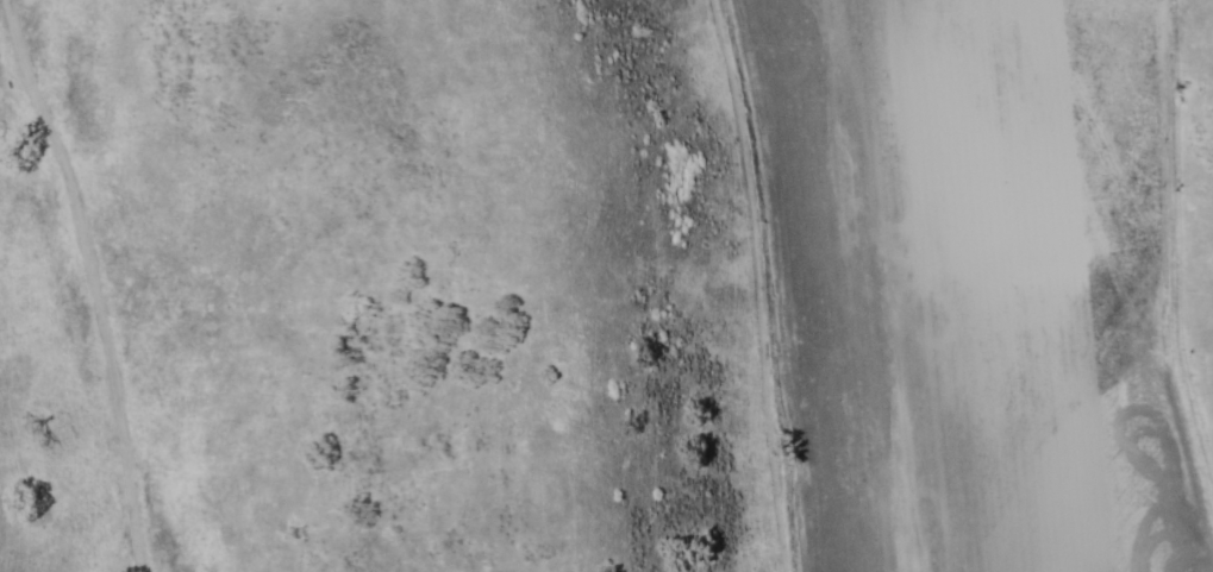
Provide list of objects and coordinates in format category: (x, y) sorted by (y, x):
road: (5, 15)
crop: (986, 282)

